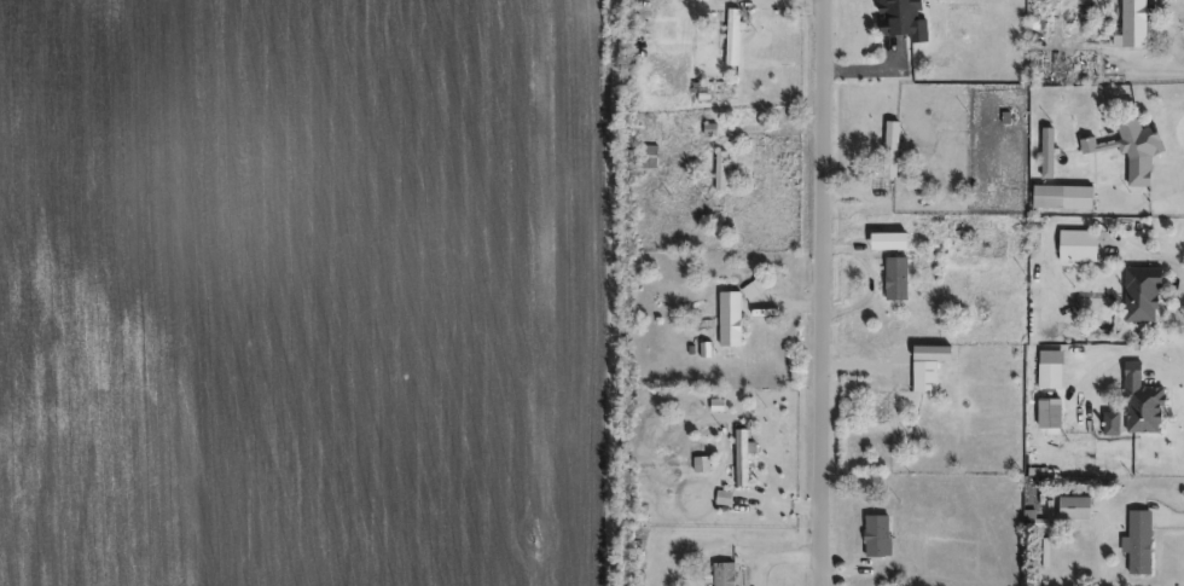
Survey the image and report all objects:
building: (910, 18)
building: (1143, 24)
building: (737, 39)
road: (863, 62)
road: (780, 122)
building: (1050, 155)
building: (1141, 155)
building: (650, 157)
building: (726, 172)
road: (857, 180)
road: (853, 239)
building: (900, 243)
building: (1081, 248)
building: (899, 280)
road: (611, 292)
road: (826, 292)
building: (1147, 296)
road: (791, 298)
building: (733, 320)
road: (859, 356)
road: (1167, 366)
building: (1052, 371)
building: (927, 378)
building: (1145, 405)
building: (886, 410)
building: (1114, 425)
building: (744, 459)
road: (783, 509)
building: (1080, 510)
road: (1171, 511)
building: (881, 538)
building: (1142, 544)
building: (727, 575)

